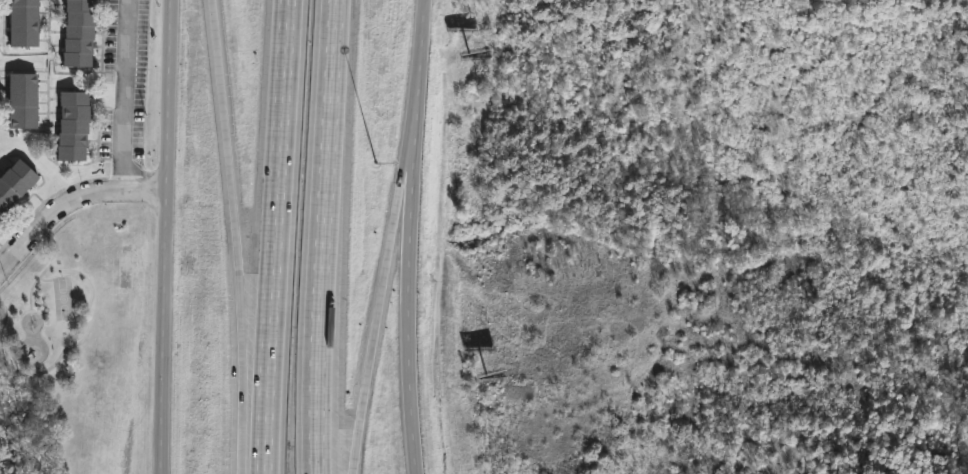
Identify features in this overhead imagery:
building: (25, 22)
building: (80, 32)
road: (131, 98)
road: (172, 98)
building: (23, 100)
building: (74, 124)
building: (16, 184)
road: (403, 197)
road: (70, 207)
road: (236, 236)
road: (276, 236)
road: (324, 236)
road: (410, 236)
road: (167, 335)
road: (372, 351)

